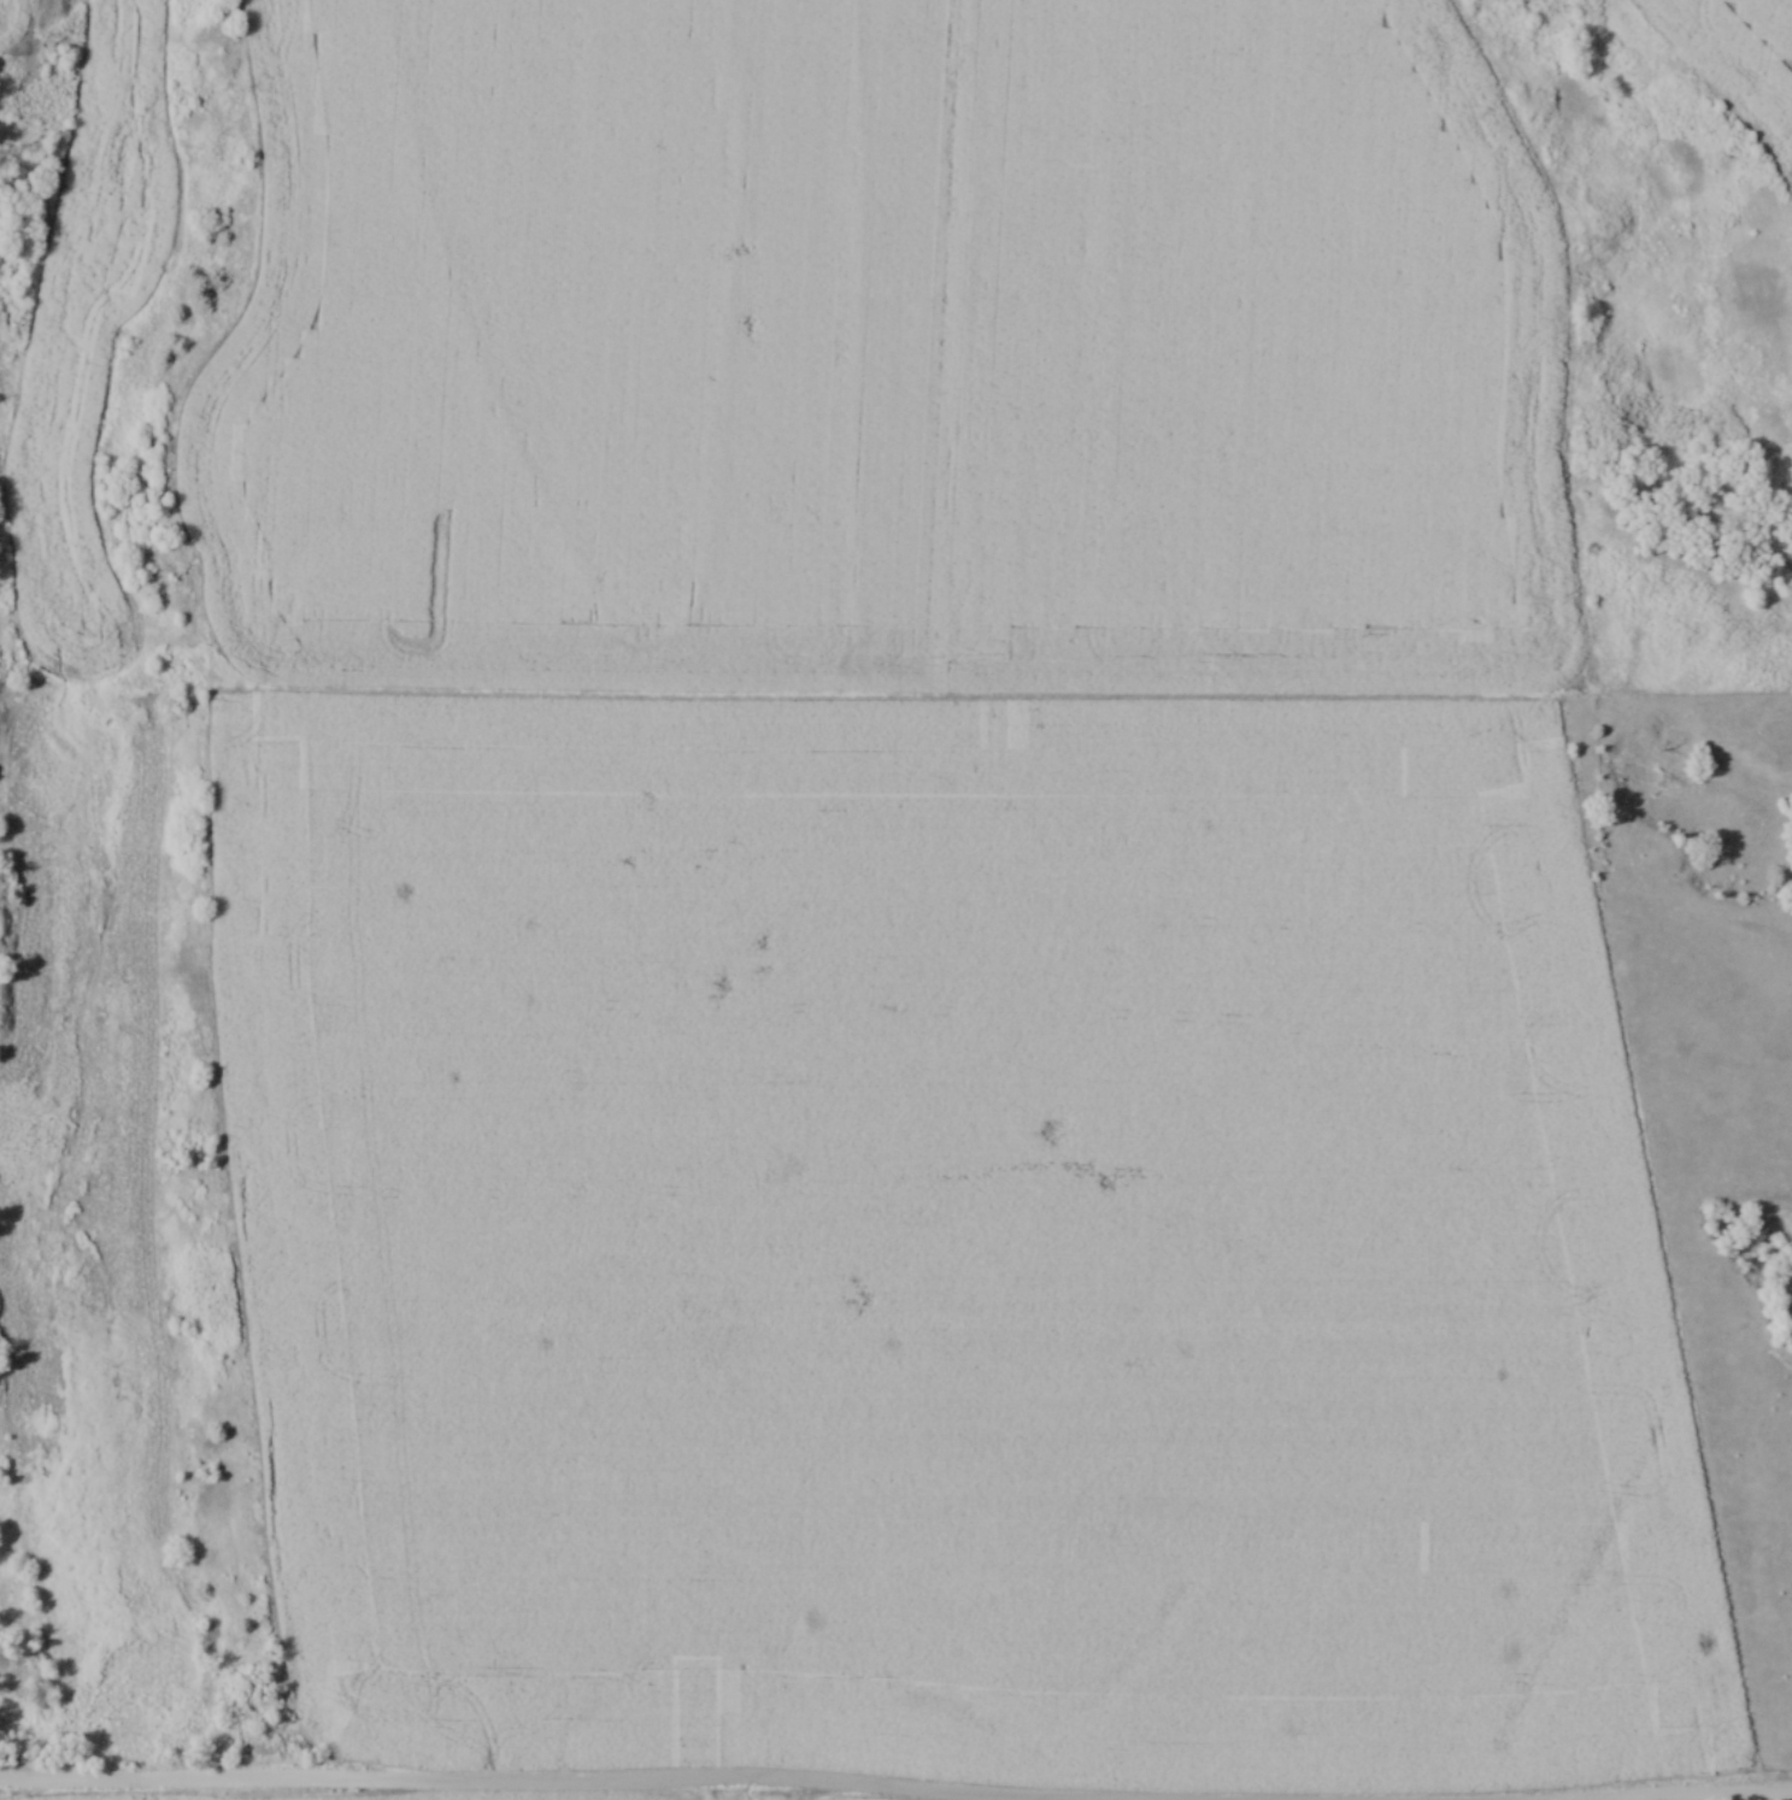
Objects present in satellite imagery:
road: (482, 1783)

